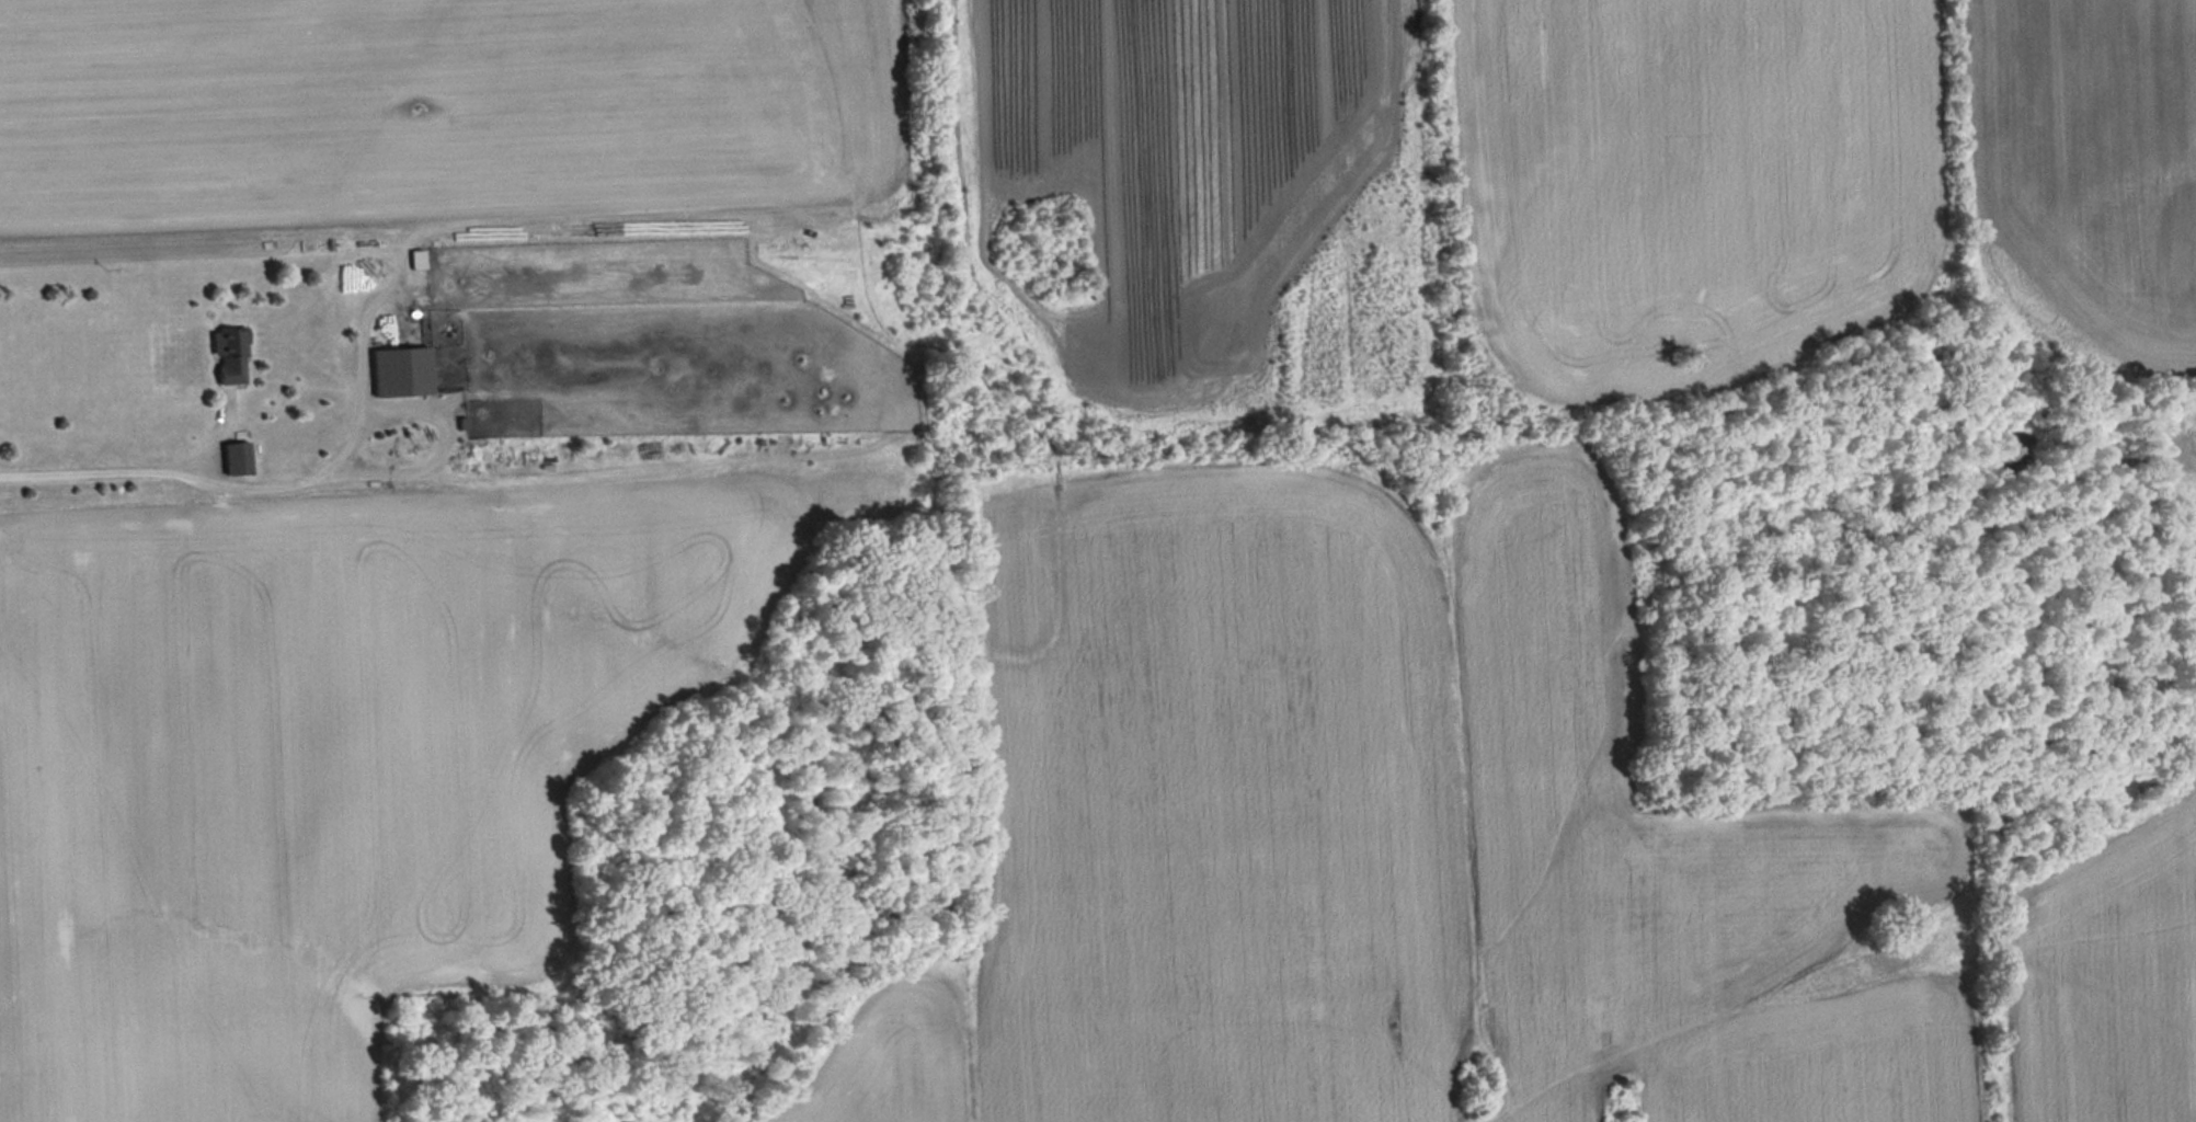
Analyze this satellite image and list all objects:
building: (231, 354)
building: (239, 458)

